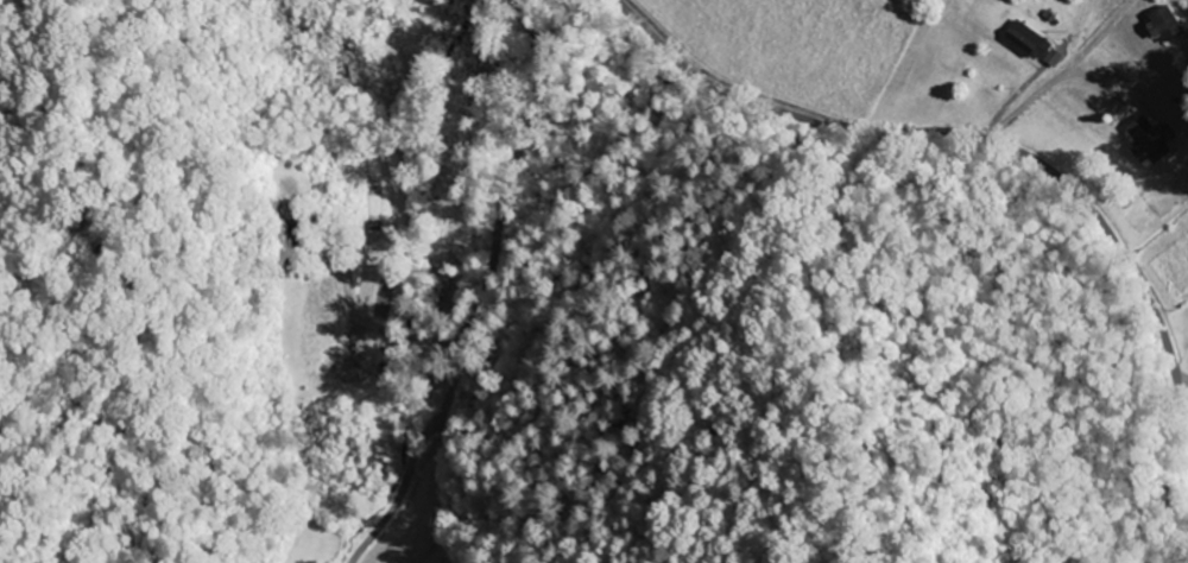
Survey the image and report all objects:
building: (1025, 42)
building: (1051, 58)
road: (456, 129)
road: (991, 140)
building: (1144, 141)
road: (500, 200)

